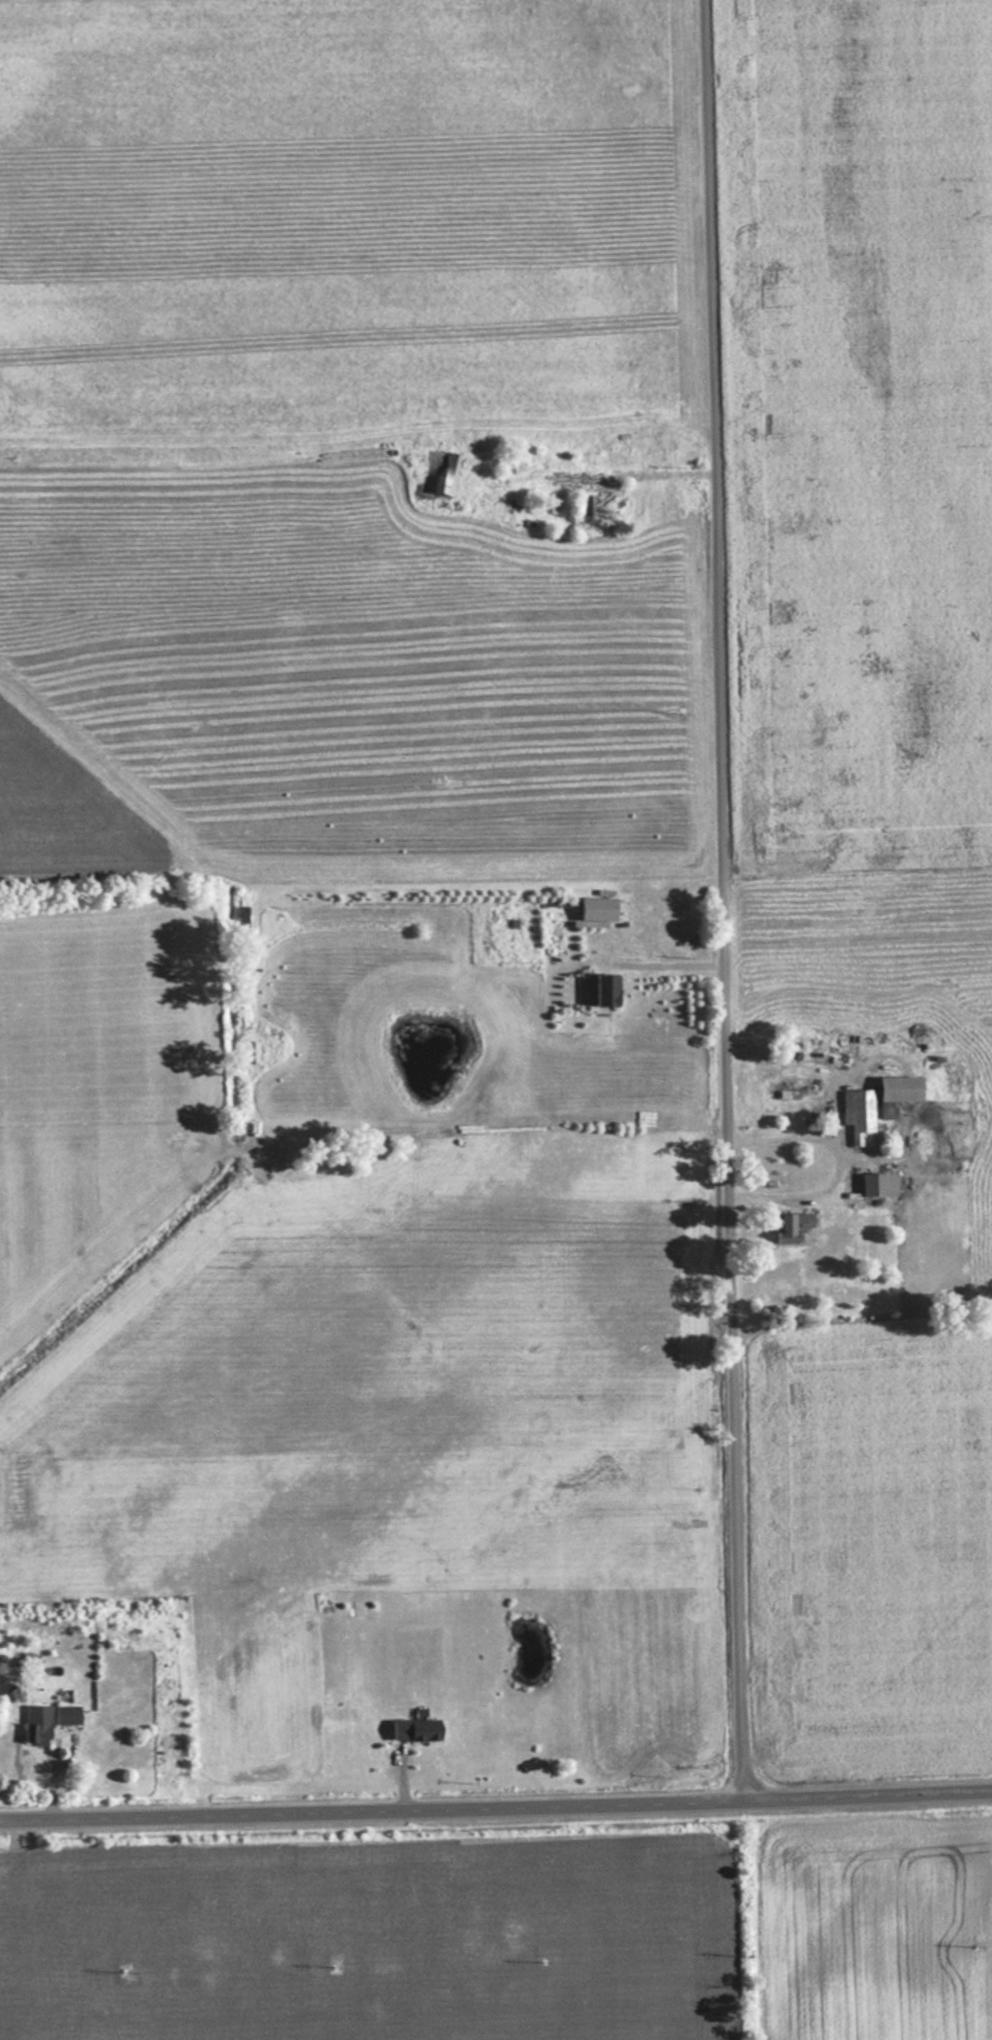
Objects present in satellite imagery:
building: (425, 476)
building: (585, 503)
road: (727, 904)
building: (595, 908)
building: (604, 988)
building: (875, 1103)
building: (877, 1184)
building: (789, 1226)
building: (66, 1714)
building: (36, 1725)
building: (413, 1729)
road: (496, 1815)

